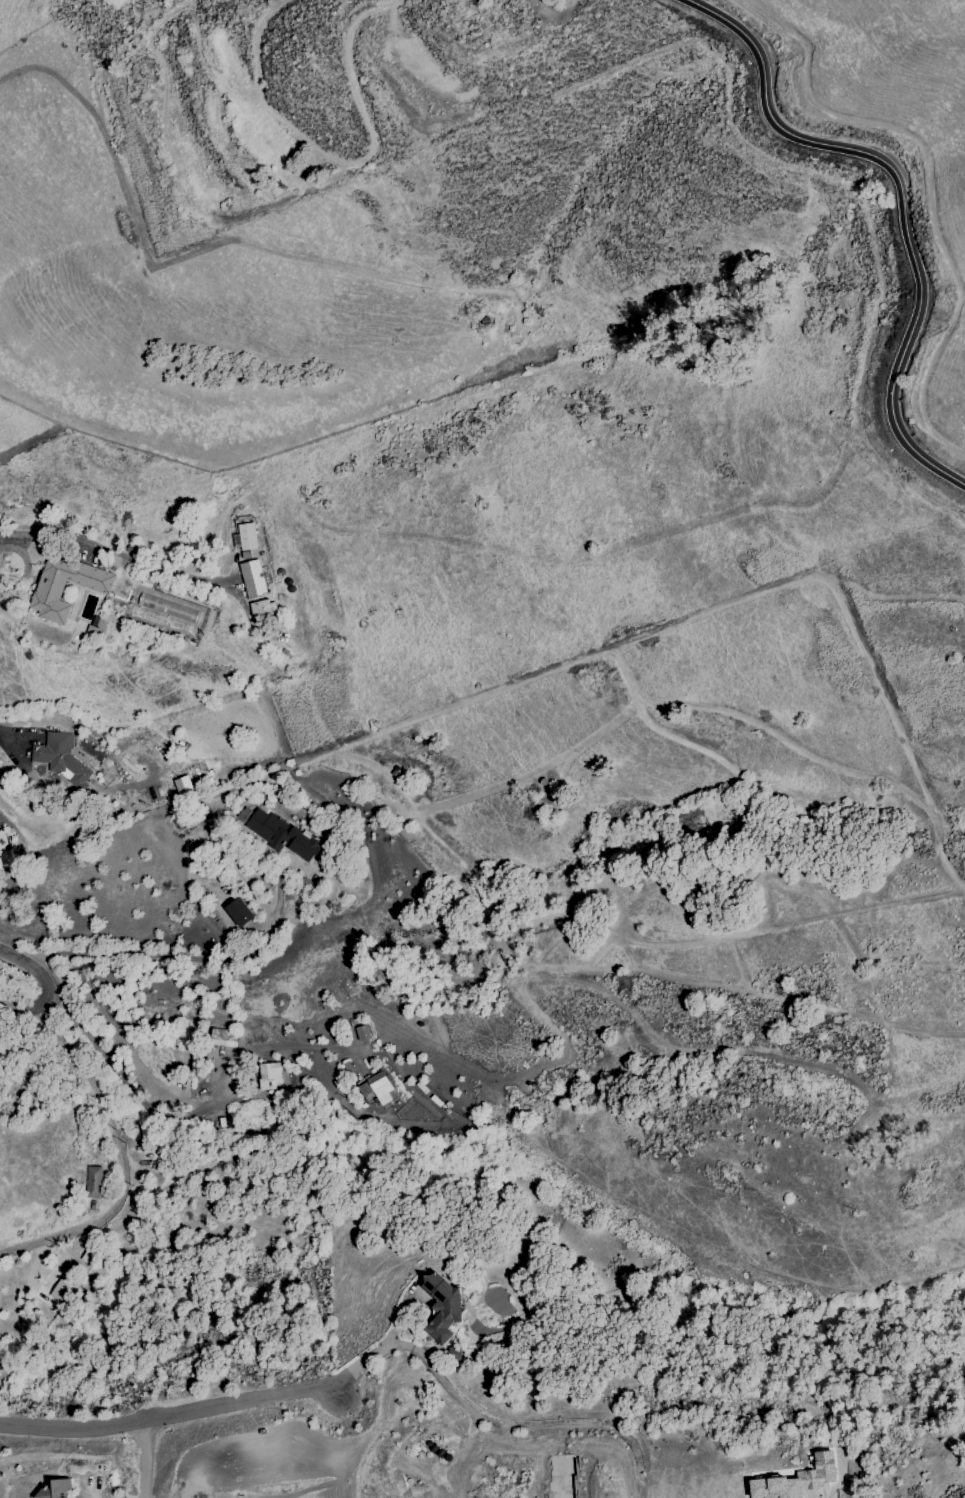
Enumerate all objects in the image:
building: (270, 137)
road: (345, 163)
building: (191, 168)
road: (282, 200)
road: (904, 200)
building: (244, 537)
road: (108, 550)
building: (252, 579)
building: (49, 588)
building: (262, 609)
building: (58, 757)
building: (182, 786)
building: (276, 832)
building: (238, 912)
road: (180, 959)
road: (51, 983)
building: (362, 1033)
building: (223, 1037)
road: (77, 1069)
building: (268, 1075)
building: (375, 1090)
road: (183, 1115)
building: (93, 1182)
road: (92, 1221)
building: (59, 1291)
building: (442, 1306)
road: (198, 1413)
road: (522, 1425)
road: (140, 1462)
building: (797, 1480)
building: (55, 1489)
road: (88, 1492)
building: (75, 1497)

